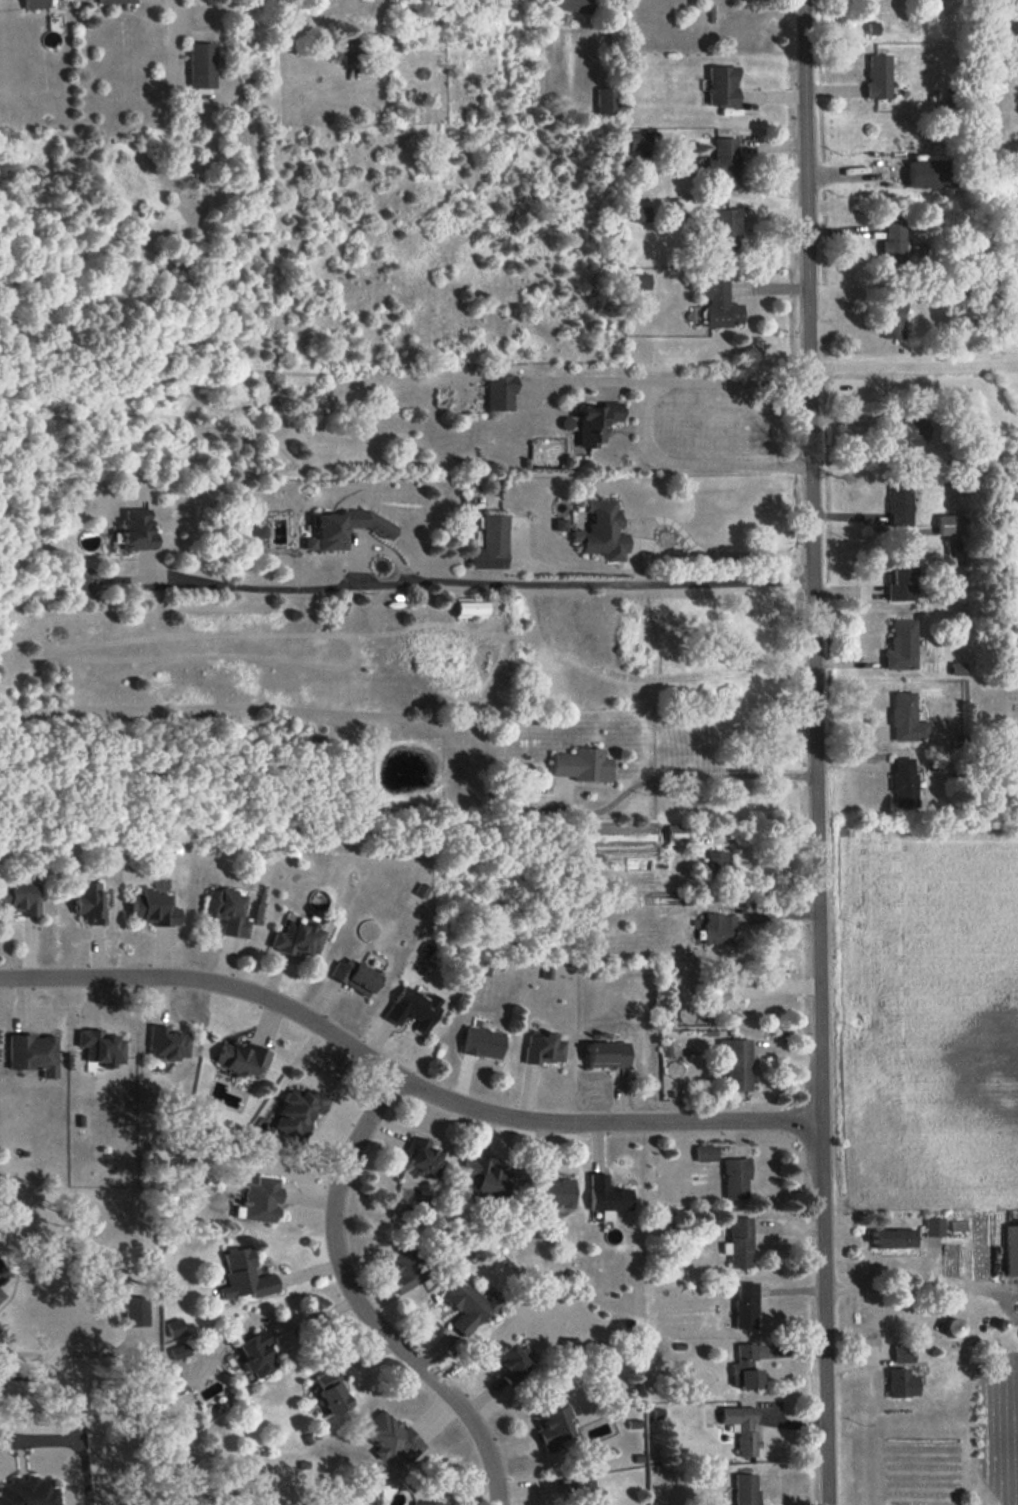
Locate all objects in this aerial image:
building: (116, 1)
building: (34, 4)
building: (573, 5)
building: (350, 50)
building: (200, 63)
building: (878, 77)
building: (721, 86)
building: (606, 101)
building: (639, 140)
building: (723, 162)
building: (927, 173)
building: (640, 213)
building: (724, 229)
building: (893, 243)
building: (640, 281)
building: (718, 304)
building: (893, 317)
road: (912, 364)
building: (499, 392)
road: (639, 420)
building: (595, 422)
building: (906, 433)
building: (899, 503)
building: (560, 524)
building: (949, 524)
building: (344, 528)
building: (136, 529)
building: (602, 530)
building: (260, 531)
road: (691, 541)
building: (490, 544)
building: (900, 580)
building: (79, 583)
road: (494, 589)
building: (469, 607)
building: (900, 645)
building: (957, 668)
building: (906, 718)
road: (814, 752)
building: (581, 764)
road: (678, 774)
building: (903, 781)
building: (675, 834)
building: (717, 861)
building: (21, 898)
building: (90, 902)
building: (154, 908)
building: (228, 911)
building: (298, 937)
building: (355, 976)
building: (731, 991)
building: (413, 1008)
building: (482, 1042)
building: (168, 1043)
building: (103, 1047)
building: (544, 1048)
building: (34, 1053)
building: (607, 1054)
building: (243, 1059)
building: (734, 1062)
road: (398, 1078)
building: (298, 1111)
building: (706, 1153)
building: (424, 1158)
building: (484, 1175)
building: (736, 1178)
building: (554, 1191)
building: (608, 1196)
building: (259, 1199)
building: (934, 1226)
building: (892, 1238)
building: (739, 1242)
building: (1012, 1249)
building: (403, 1269)
building: (244, 1275)
building: (1, 1294)
road: (916, 1295)
road: (363, 1305)
building: (466, 1305)
building: (746, 1305)
building: (137, 1310)
building: (174, 1327)
building: (953, 1327)
building: (179, 1350)
building: (903, 1353)
building: (256, 1354)
road: (70, 1359)
building: (511, 1363)
building: (745, 1366)
building: (901, 1383)
building: (331, 1391)
building: (552, 1424)
building: (742, 1427)
building: (391, 1437)
road: (38, 1440)
building: (746, 1489)
building: (28, 1491)
building: (590, 1497)
building: (426, 1503)

